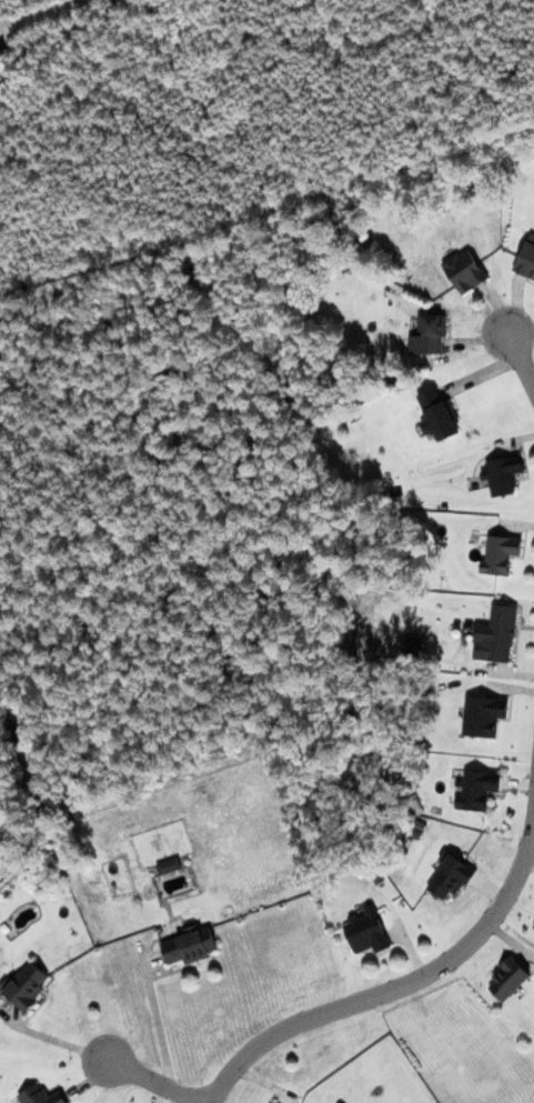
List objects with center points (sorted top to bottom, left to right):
building: (526, 259)
building: (464, 271)
building: (429, 335)
road: (521, 358)
building: (437, 414)
building: (502, 474)
building: (500, 554)
building: (495, 634)
building: (414, 644)
building: (483, 715)
building: (476, 790)
building: (168, 865)
building: (451, 876)
building: (365, 931)
building: (189, 946)
building: (507, 980)
building: (27, 985)
road: (400, 989)
road: (157, 1082)
building: (39, 1095)

